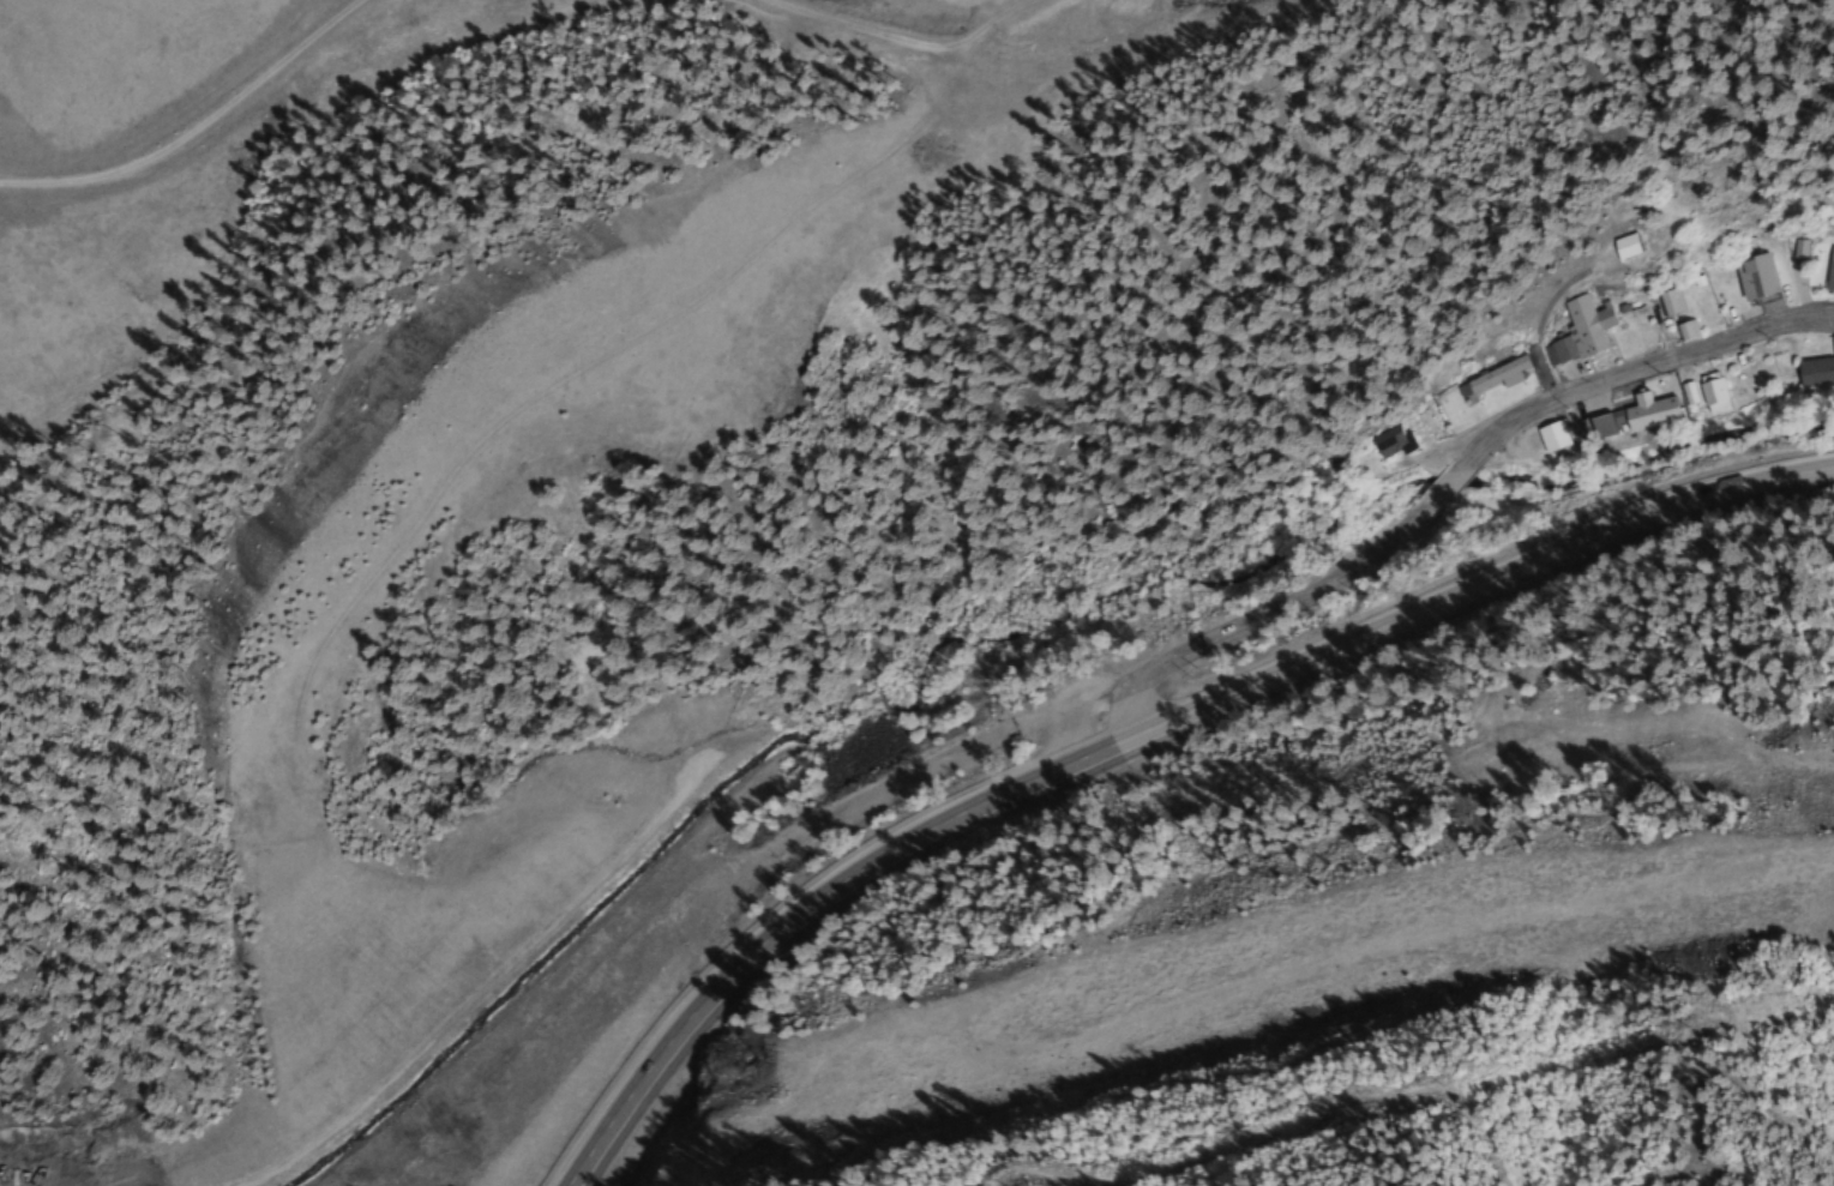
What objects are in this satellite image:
building: (1620, 246)
building: (1828, 271)
building: (1751, 276)
building: (1667, 301)
building: (1579, 330)
building: (1684, 330)
building: (1816, 369)
building: (1489, 379)
building: (1710, 392)
building: (1648, 411)
building: (1599, 427)
building: (1550, 438)
building: (1389, 443)
road: (1439, 495)
road: (1629, 542)
road: (961, 829)

